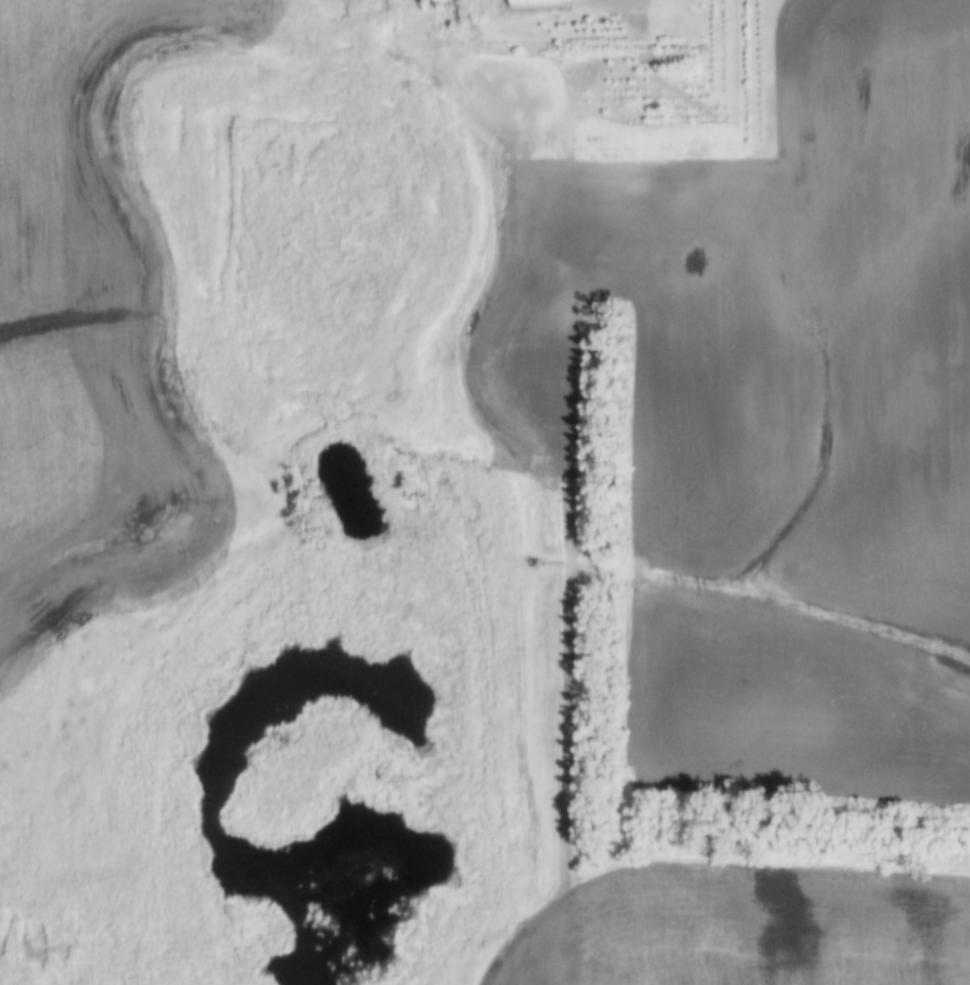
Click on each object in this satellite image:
building: (540, 5)
road: (646, 35)

